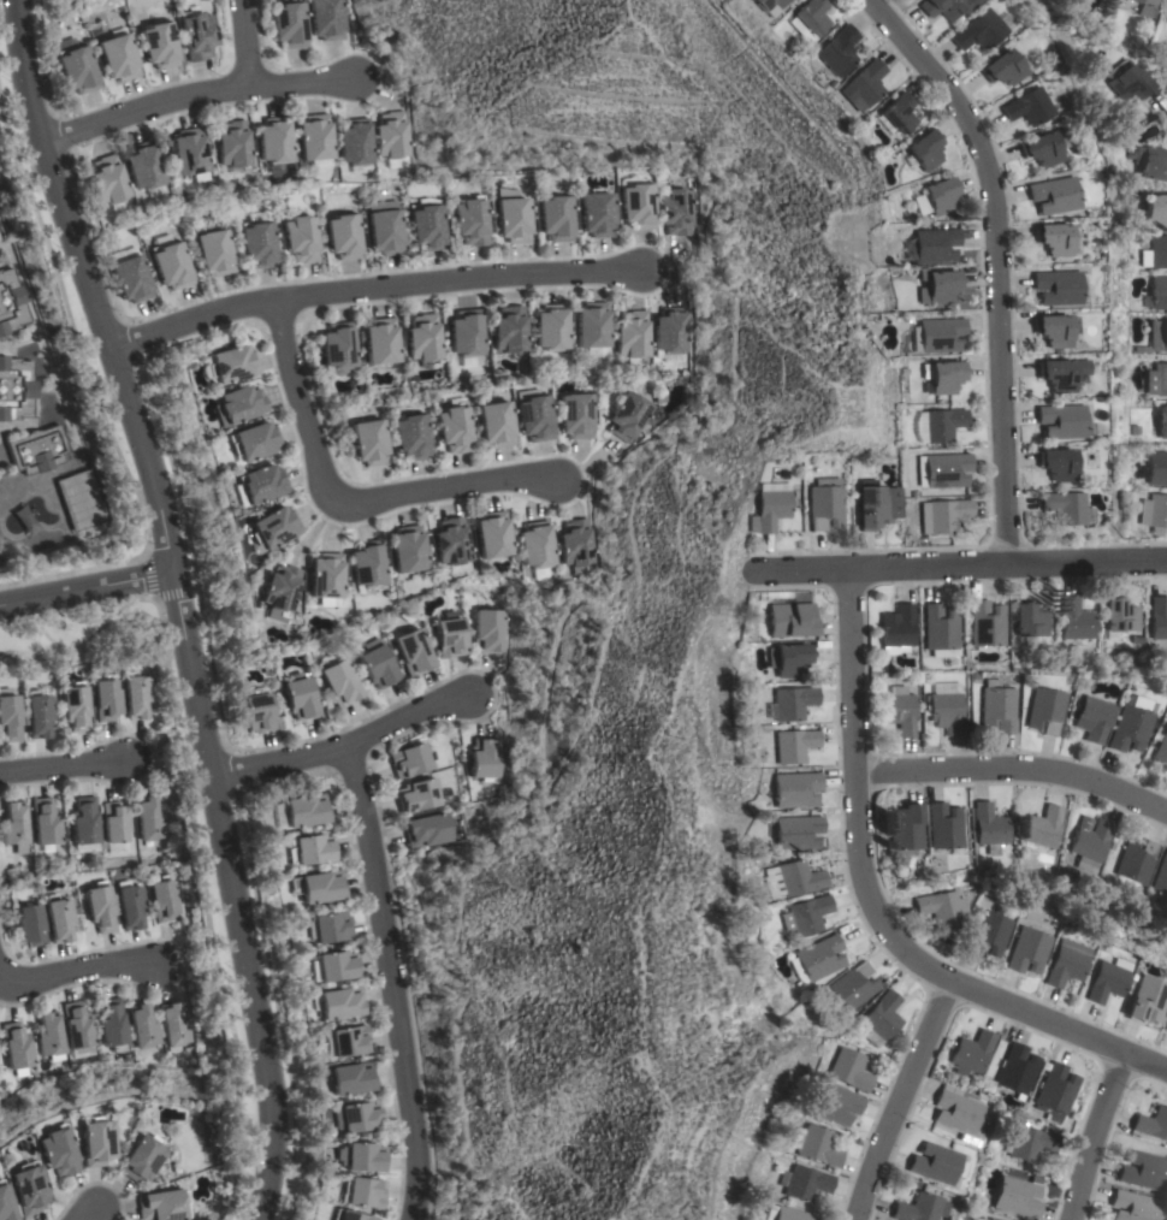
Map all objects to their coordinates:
building: (765, 4)
building: (1145, 6)
building: (944, 7)
building: (808, 17)
building: (326, 19)
building: (288, 25)
building: (976, 30)
building: (197, 35)
road: (243, 42)
building: (159, 46)
building: (835, 51)
building: (118, 58)
building: (1001, 69)
building: (77, 70)
building: (1127, 81)
building: (861, 84)
road: (192, 96)
building: (1026, 107)
road: (1157, 108)
building: (894, 114)
building: (390, 135)
building: (313, 137)
building: (273, 141)
building: (354, 142)
building: (232, 146)
building: (1042, 147)
building: (923, 149)
building: (188, 152)
building: (1151, 162)
building: (143, 166)
building: (107, 179)
building: (1052, 195)
building: (936, 196)
building: (636, 206)
building: (1155, 211)
building: (675, 212)
building: (597, 213)
building: (511, 217)
building: (556, 218)
building: (470, 221)
building: (384, 227)
building: (427, 227)
building: (343, 236)
building: (300, 239)
building: (1052, 239)
building: (257, 244)
building: (934, 245)
building: (214, 253)
building: (1155, 253)
road: (1000, 260)
building: (171, 266)
building: (131, 279)
building: (937, 286)
building: (1055, 288)
road: (375, 290)
building: (1159, 292)
building: (11, 303)
building: (591, 325)
building: (550, 327)
building: (508, 330)
building: (1054, 330)
building: (670, 331)
building: (464, 333)
building: (632, 334)
building: (940, 334)
building: (1157, 336)
road: (71, 338)
building: (422, 338)
building: (380, 340)
building: (338, 348)
building: (231, 365)
building: (1059, 374)
building: (943, 377)
building: (1156, 380)
building: (16, 389)
building: (238, 404)
building: (574, 416)
building: (627, 416)
building: (533, 417)
building: (1061, 422)
building: (1162, 422)
building: (494, 424)
building: (938, 425)
building: (454, 428)
building: (410, 438)
building: (254, 442)
building: (368, 442)
building: (37, 450)
building: (1055, 464)
building: (1156, 468)
building: (943, 469)
building: (260, 484)
road: (342, 496)
building: (79, 501)
building: (824, 503)
building: (871, 505)
building: (1062, 507)
building: (768, 510)
building: (1154, 513)
building: (943, 515)
building: (272, 527)
building: (492, 534)
building: (450, 541)
building: (575, 544)
building: (535, 547)
building: (407, 549)
road: (965, 563)
building: (367, 564)
road: (72, 573)
building: (325, 575)
road: (84, 586)
building: (278, 588)
road: (176, 603)
building: (1120, 617)
building: (1159, 617)
building: (792, 620)
building: (1076, 620)
building: (1030, 621)
building: (987, 624)
building: (896, 628)
building: (940, 630)
building: (487, 632)
building: (450, 638)
building: (413, 652)
building: (789, 659)
building: (377, 667)
building: (339, 682)
building: (135, 695)
building: (300, 698)
building: (105, 699)
building: (794, 703)
building: (75, 707)
building: (946, 707)
building: (996, 707)
building: (899, 710)
building: (1043, 710)
building: (257, 712)
building: (37, 715)
building: (8, 718)
building: (1090, 718)
building: (1125, 729)
building: (795, 745)
road: (345, 747)
building: (1160, 748)
building: (484, 759)
building: (410, 760)
road: (63, 765)
road: (1013, 769)
building: (796, 789)
building: (417, 796)
building: (306, 811)
building: (149, 821)
building: (45, 822)
building: (85, 822)
building: (114, 822)
building: (987, 825)
building: (14, 827)
building: (1041, 827)
building: (904, 828)
building: (943, 828)
building: (426, 830)
building: (798, 833)
building: (1086, 841)
building: (310, 849)
building: (1132, 860)
building: (800, 878)
building: (1159, 878)
building: (318, 887)
building: (162, 900)
building: (130, 906)
building: (942, 907)
building: (99, 908)
road: (875, 910)
building: (806, 914)
building: (58, 920)
building: (30, 925)
building: (330, 928)
building: (990, 934)
building: (1029, 950)
building: (821, 958)
building: (1068, 963)
building: (334, 966)
road: (79, 971)
road: (389, 982)
building: (1108, 982)
building: (854, 985)
building: (1148, 1000)
building: (338, 1002)
building: (883, 1015)
building: (112, 1025)
building: (174, 1025)
building: (77, 1027)
building: (143, 1027)
building: (1166, 1030)
building: (49, 1035)
building: (348, 1041)
building: (16, 1046)
building: (971, 1053)
building: (848, 1068)
building: (1014, 1071)
building: (350, 1078)
building: (1055, 1092)
road: (898, 1100)
building: (836, 1103)
building: (956, 1112)
building: (355, 1118)
building: (1151, 1124)
road: (1094, 1135)
building: (95, 1142)
building: (1031, 1143)
building: (819, 1147)
building: (55, 1151)
building: (363, 1157)
building: (141, 1159)
building: (932, 1163)
building: (1141, 1171)
building: (806, 1183)
building: (28, 1188)
building: (363, 1192)
building: (1017, 1197)
building: (5, 1206)
building: (161, 1206)
building: (1130, 1207)
building: (918, 1208)
road: (85, 1212)
building: (787, 1214)
building: (346, 1215)
building: (988, 1219)

